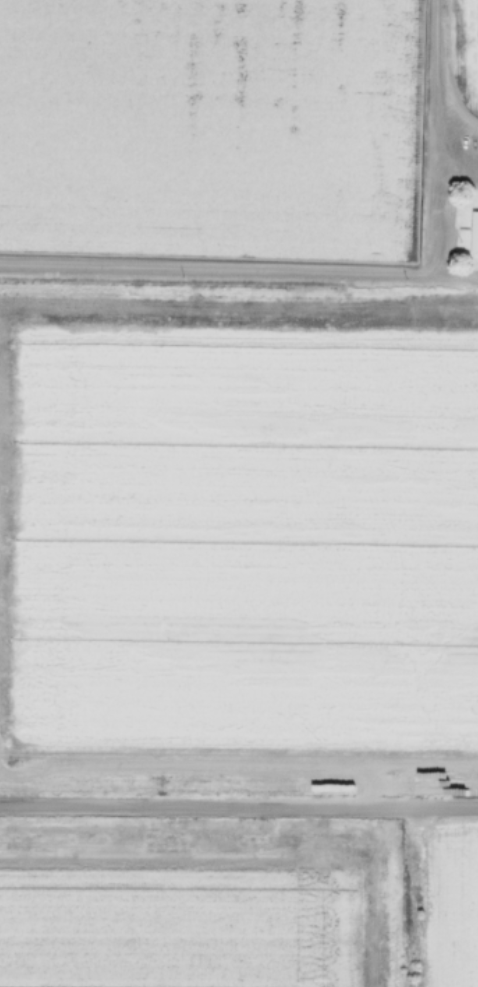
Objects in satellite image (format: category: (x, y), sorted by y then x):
road: (432, 137)
road: (455, 170)
building: (473, 232)
road: (239, 269)
road: (239, 808)

